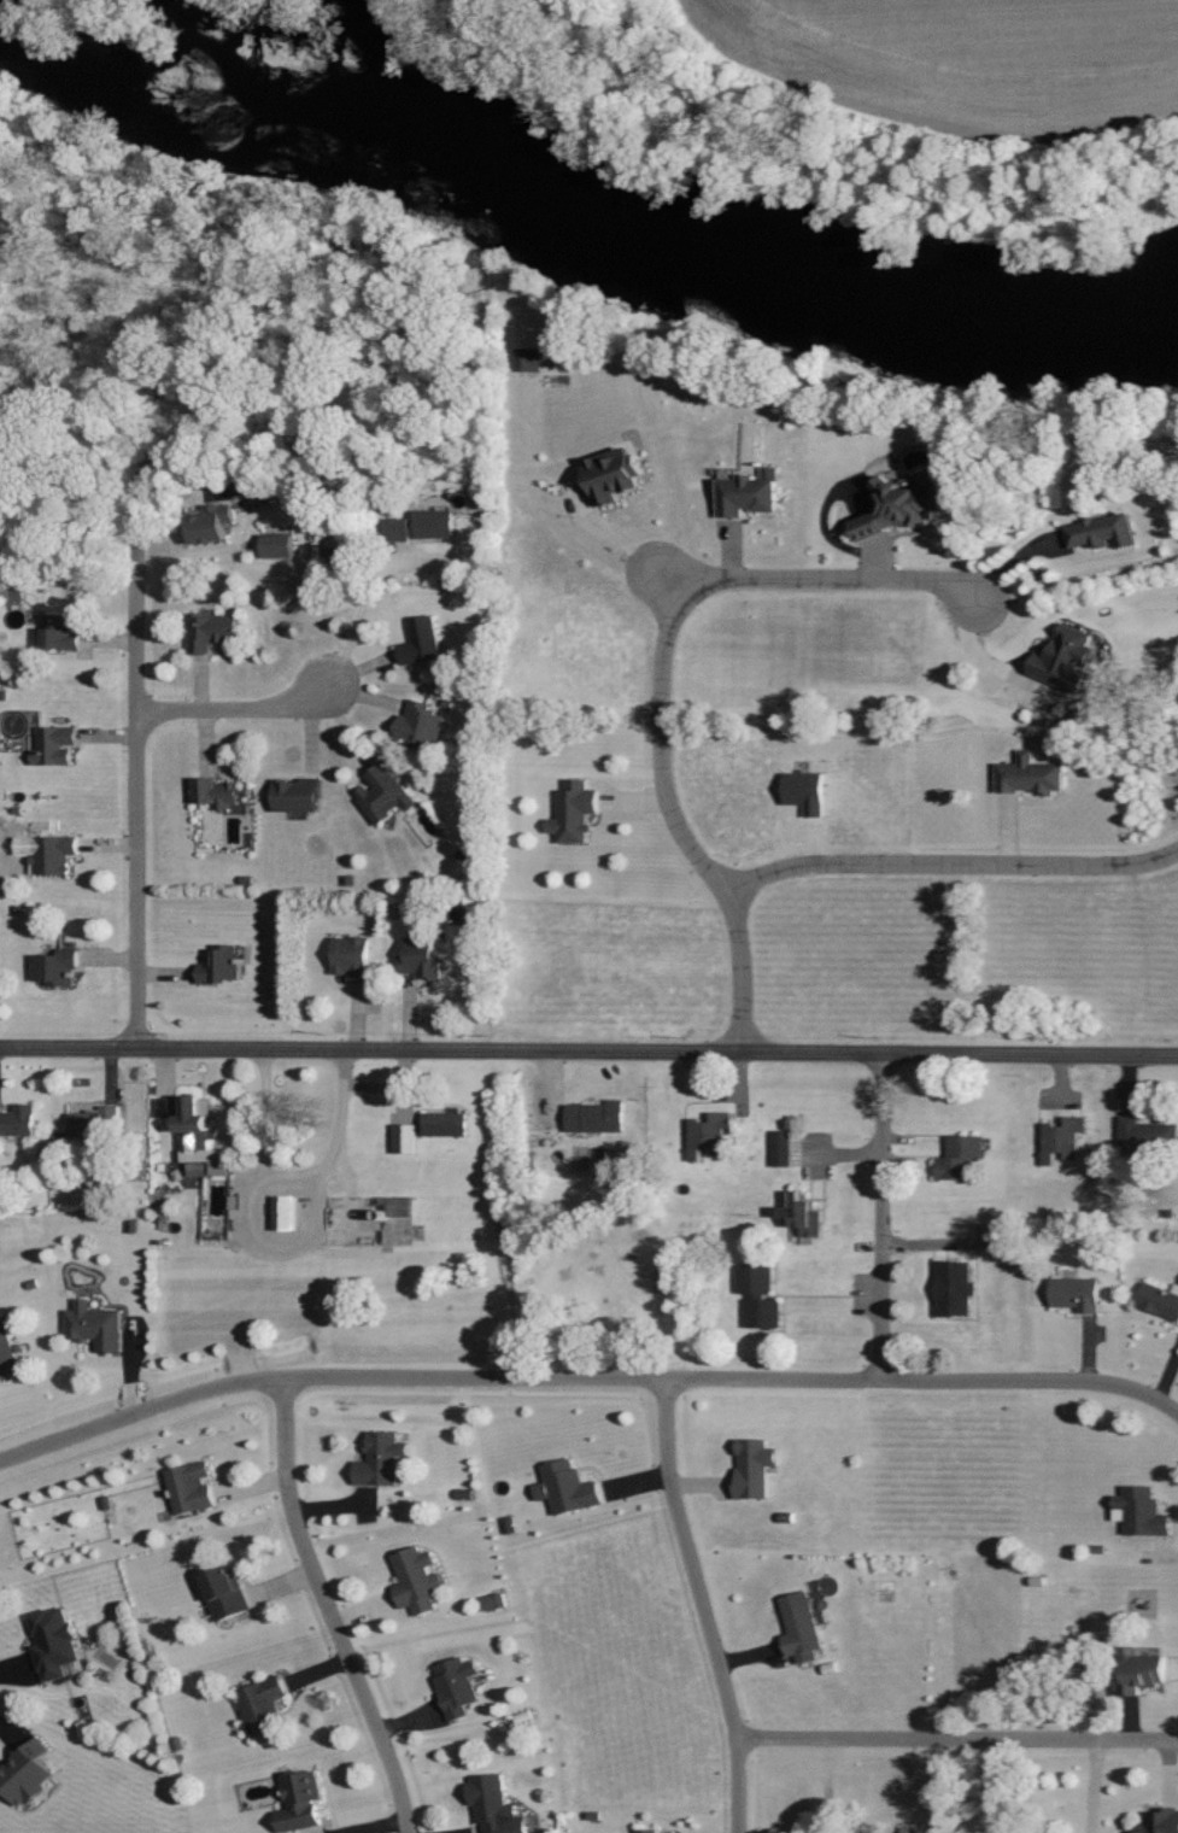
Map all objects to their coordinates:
river: (632, 230)
building: (528, 358)
building: (614, 473)
building: (749, 492)
building: (901, 506)
building: (212, 522)
building: (422, 525)
building: (1101, 532)
building: (279, 544)
road: (672, 587)
building: (11, 592)
building: (61, 631)
building: (212, 631)
building: (421, 640)
road: (975, 652)
building: (1066, 657)
road: (660, 680)
road: (225, 716)
building: (420, 724)
building: (55, 745)
building: (1030, 774)
building: (216, 791)
road: (130, 792)
building: (383, 793)
building: (297, 795)
building: (575, 812)
building: (54, 853)
road: (951, 866)
building: (353, 956)
building: (421, 956)
building: (55, 966)
building: (221, 966)
road: (588, 1048)
building: (597, 1117)
building: (18, 1120)
building: (93, 1122)
building: (446, 1124)
building: (195, 1130)
building: (709, 1134)
building: (1145, 1136)
building: (404, 1138)
building: (1061, 1138)
building: (781, 1148)
building: (960, 1156)
building: (199, 1169)
road: (294, 1179)
building: (399, 1206)
building: (285, 1212)
building: (804, 1214)
road: (878, 1216)
building: (954, 1288)
building: (1077, 1293)
building: (760, 1295)
building: (1160, 1299)
building: (94, 1325)
building: (7, 1353)
road: (323, 1375)
road: (924, 1380)
building: (381, 1459)
building: (755, 1466)
building: (570, 1487)
building: (191, 1488)
building: (1142, 1512)
building: (417, 1580)
building: (227, 1593)
building: (494, 1601)
road: (697, 1604)
road: (324, 1607)
building: (801, 1627)
building: (54, 1642)
building: (1144, 1674)
building: (457, 1686)
building: (262, 1706)
road: (954, 1741)
building: (25, 1773)
building: (300, 1802)
building: (496, 1805)
building: (1160, 1822)
building: (647, 1831)
building: (909, 1831)

